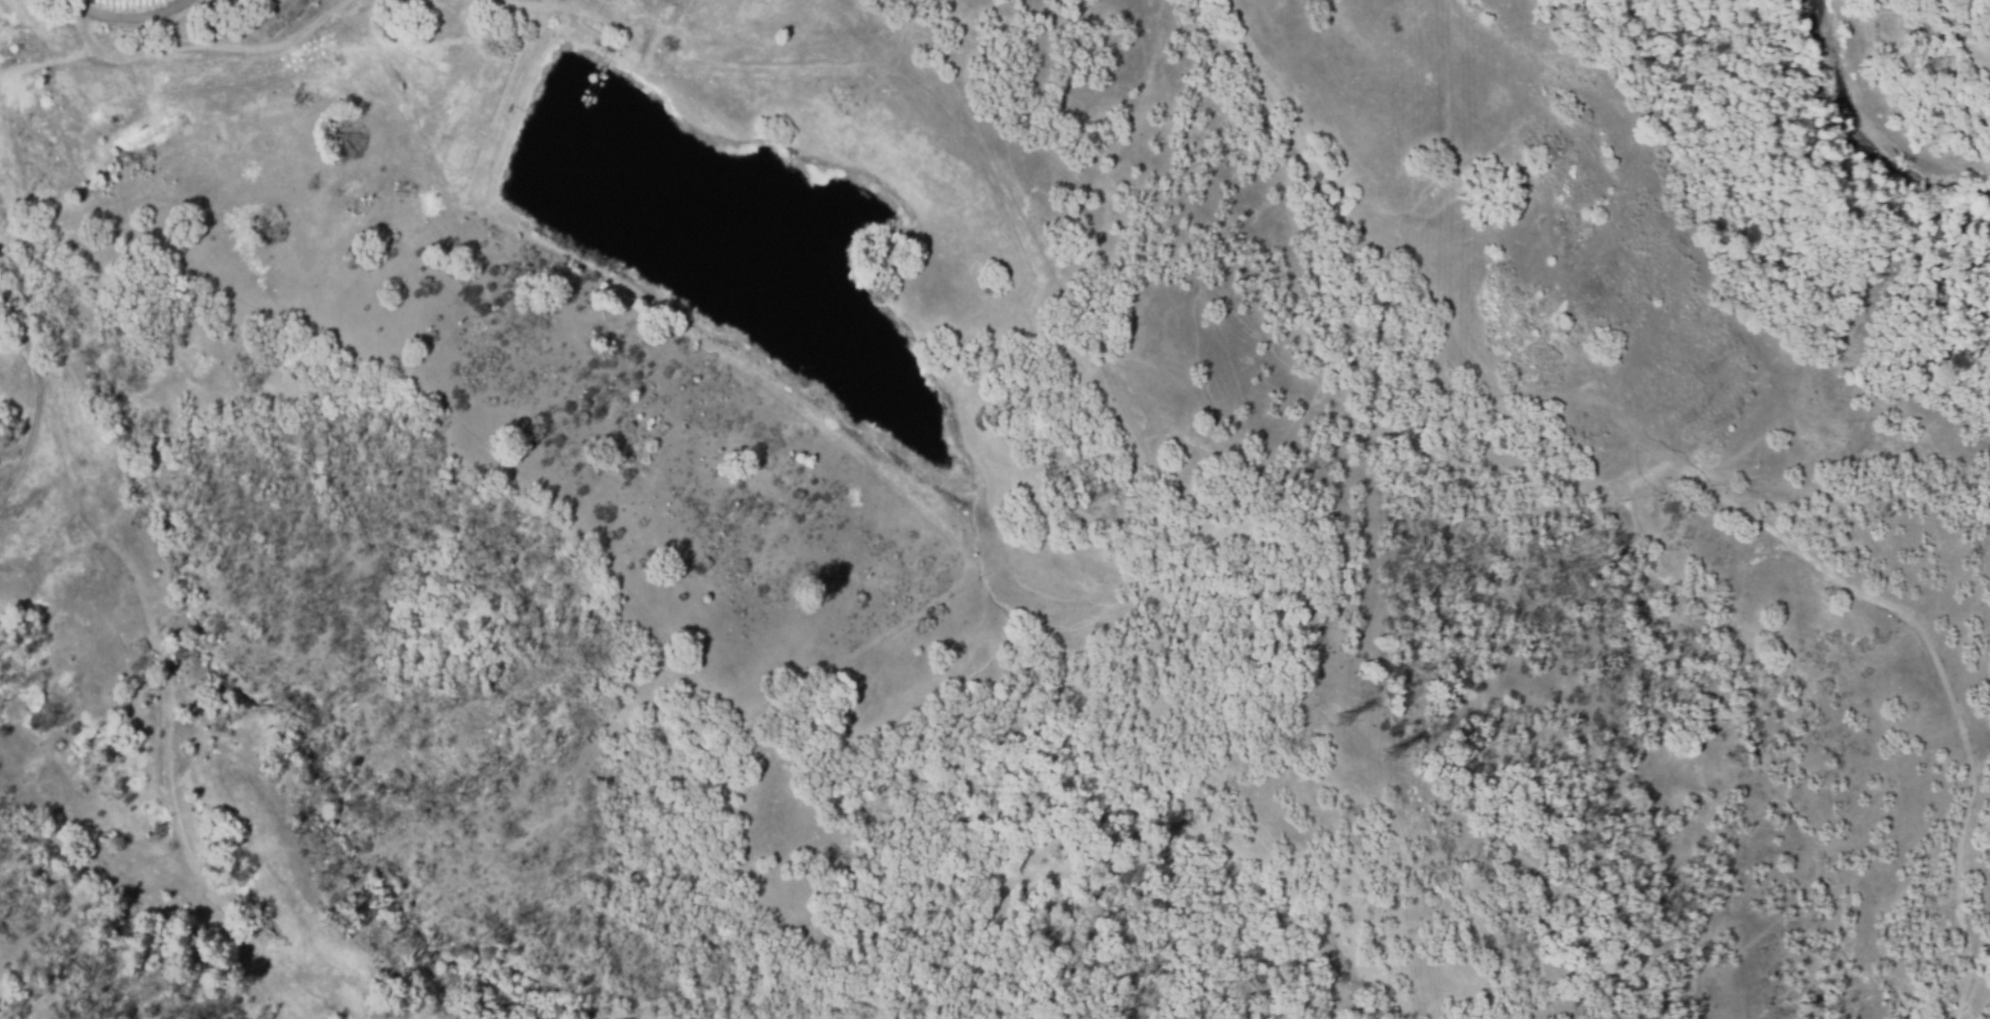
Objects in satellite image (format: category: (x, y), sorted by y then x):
building: (280, 16)
road: (134, 19)
road: (202, 44)
building: (183, 123)
power tower: (1345, 723)
power tower: (1393, 761)

